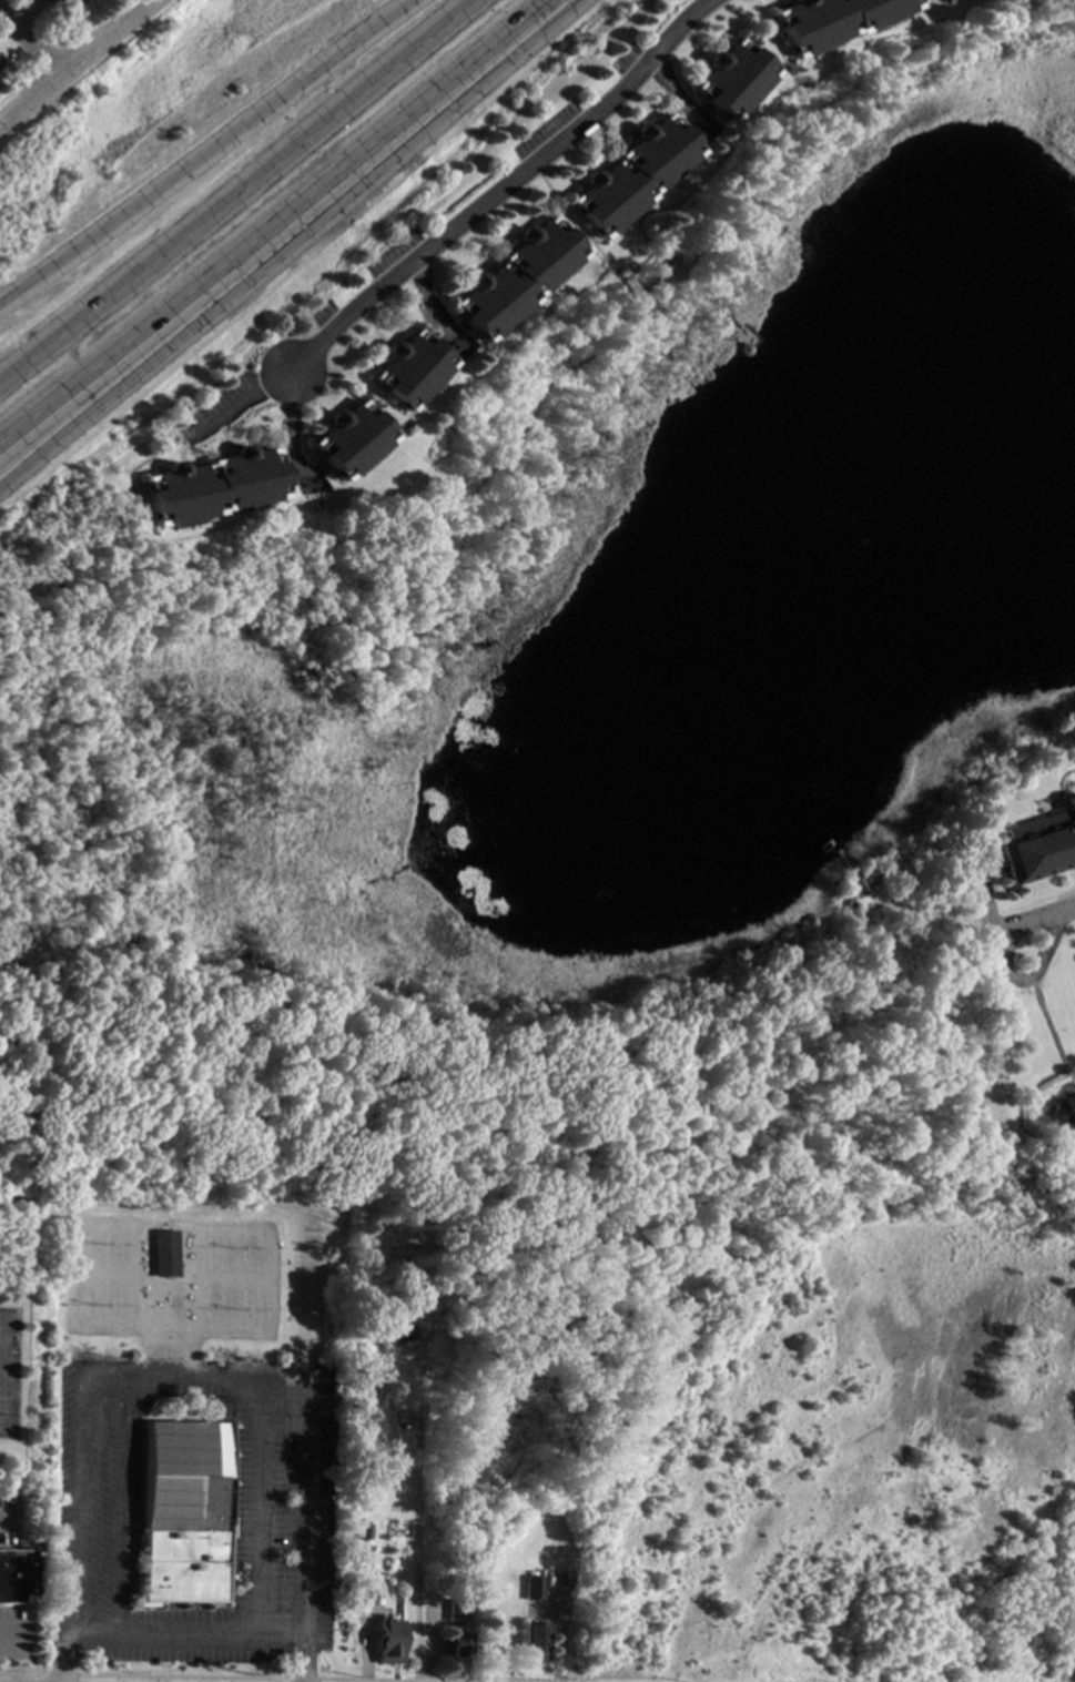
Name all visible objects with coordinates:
building: (61, 2)
building: (832, 20)
road: (27, 45)
road: (75, 60)
road: (388, 71)
building: (731, 78)
road: (207, 153)
building: (631, 174)
road: (499, 191)
road: (282, 225)
road: (150, 265)
road: (243, 276)
building: (515, 276)
building: (407, 369)
road: (243, 404)
building: (348, 439)
building: (212, 485)
building: (1038, 844)
building: (853, 890)
road: (1065, 909)
road: (1004, 972)
park: (85, 1249)
park: (119, 1250)
park: (217, 1252)
park: (253, 1253)
building: (168, 1254)
building: (418, 1268)
park: (83, 1306)
park: (120, 1307)
park: (216, 1307)
park: (252, 1307)
building: (395, 1325)
parking lot: (8, 1370)
road: (101, 1374)
building: (215, 1402)
road: (252, 1504)
road: (416, 1508)
building: (180, 1511)
road: (304, 1526)
building: (364, 1530)
building: (366, 1548)
building: (18, 1577)
building: (533, 1587)
building: (363, 1595)
building: (454, 1611)
building: (388, 1640)
building: (457, 1640)
building: (534, 1641)
road: (61, 1651)
road: (304, 1656)

